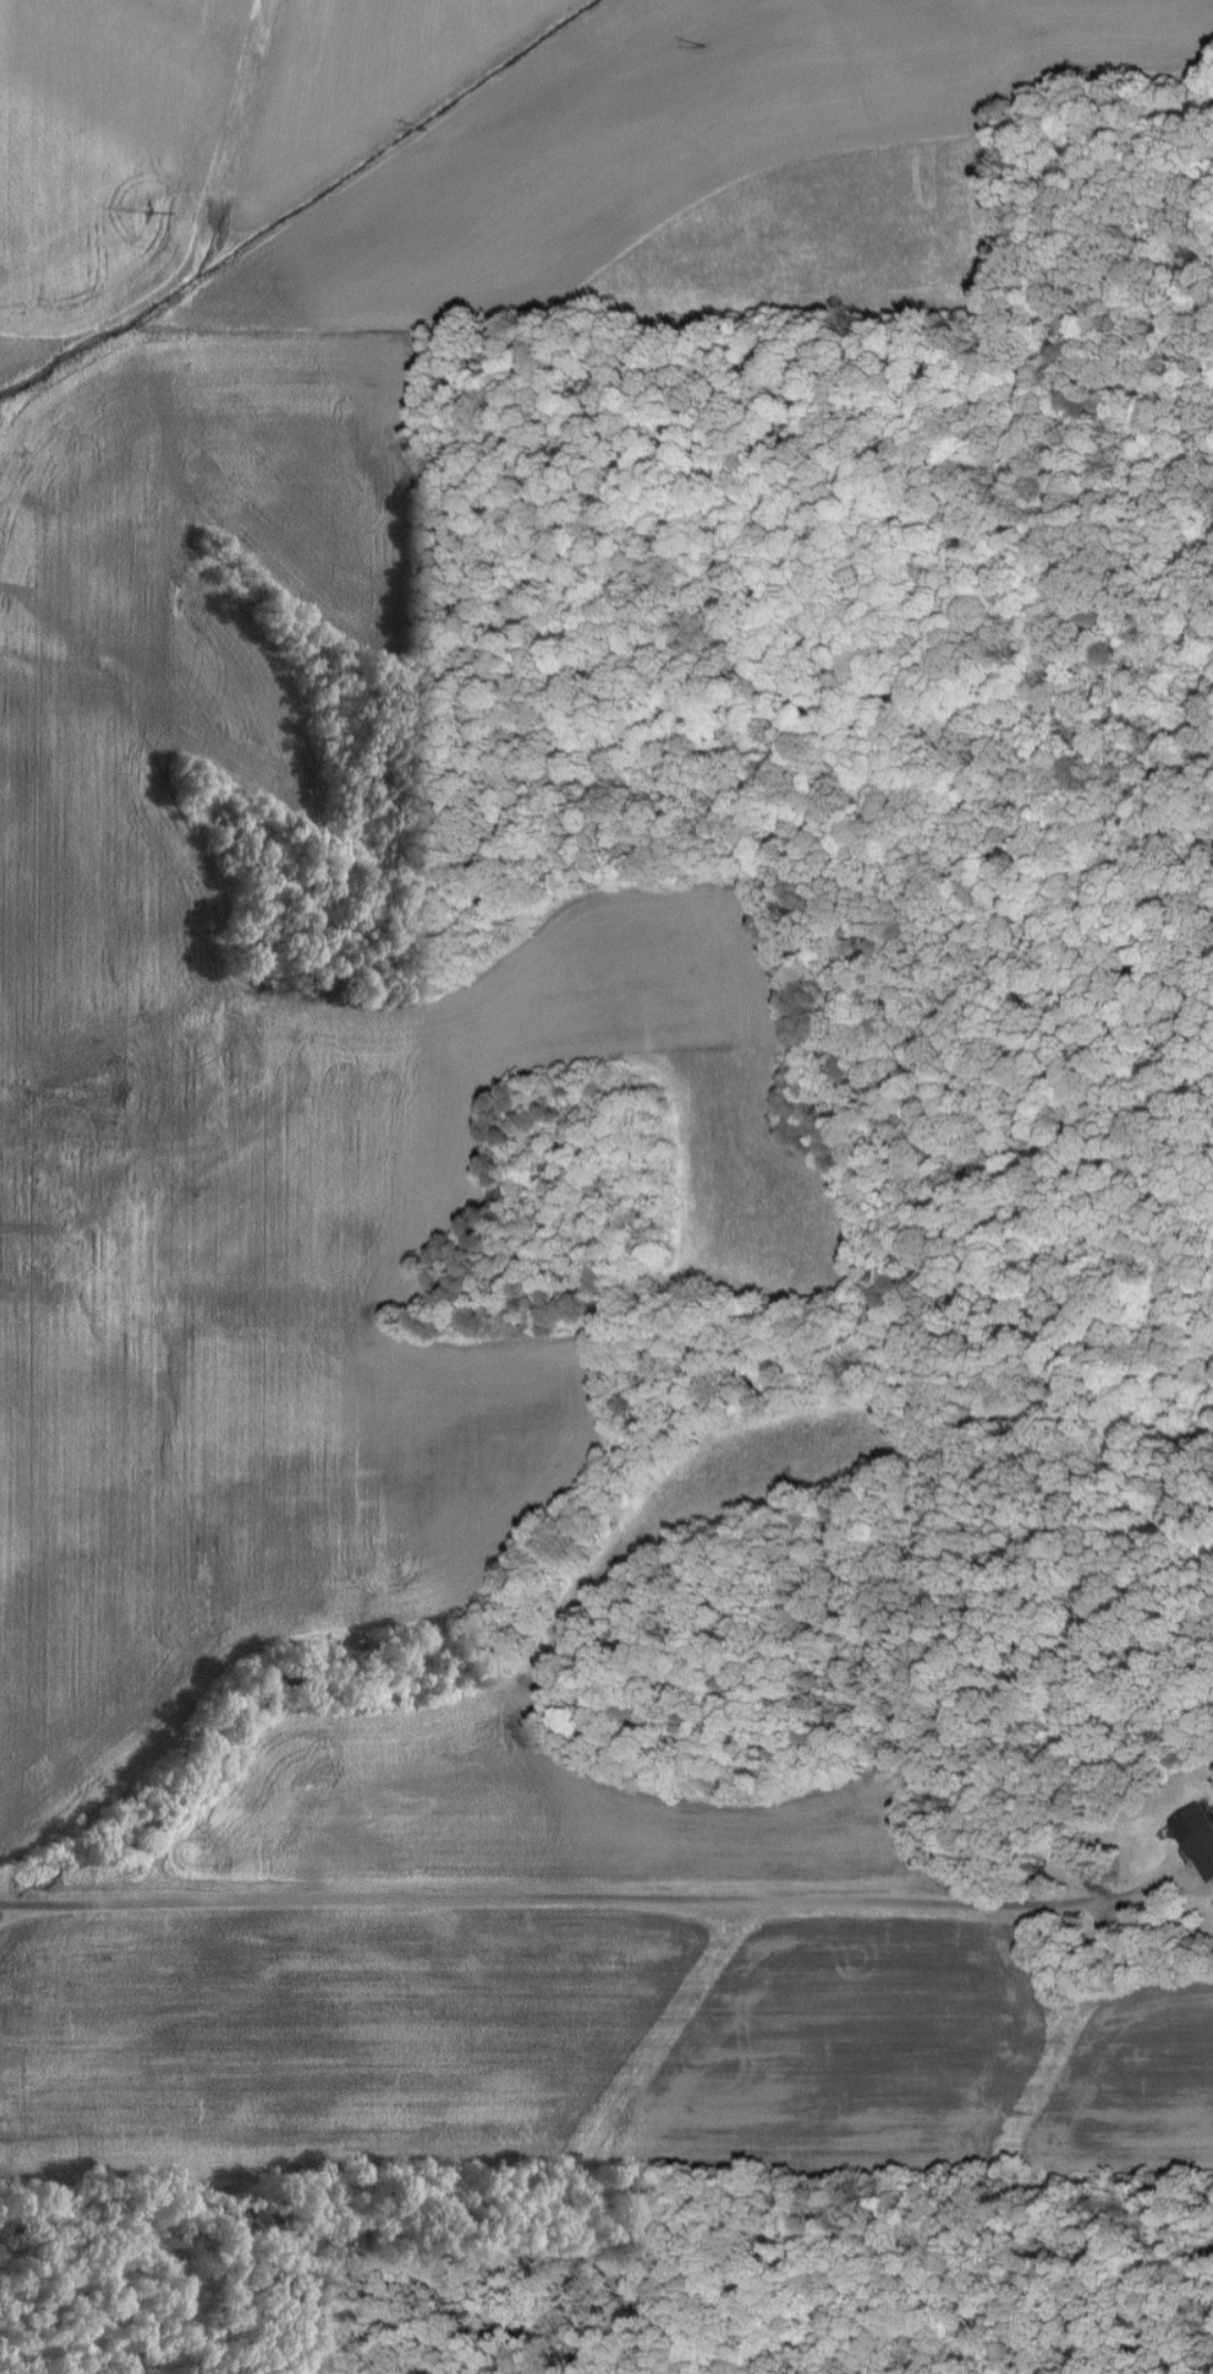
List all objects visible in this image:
building: (226, 1026)
building: (90, 1177)
building: (1196, 1838)
road: (590, 1898)

